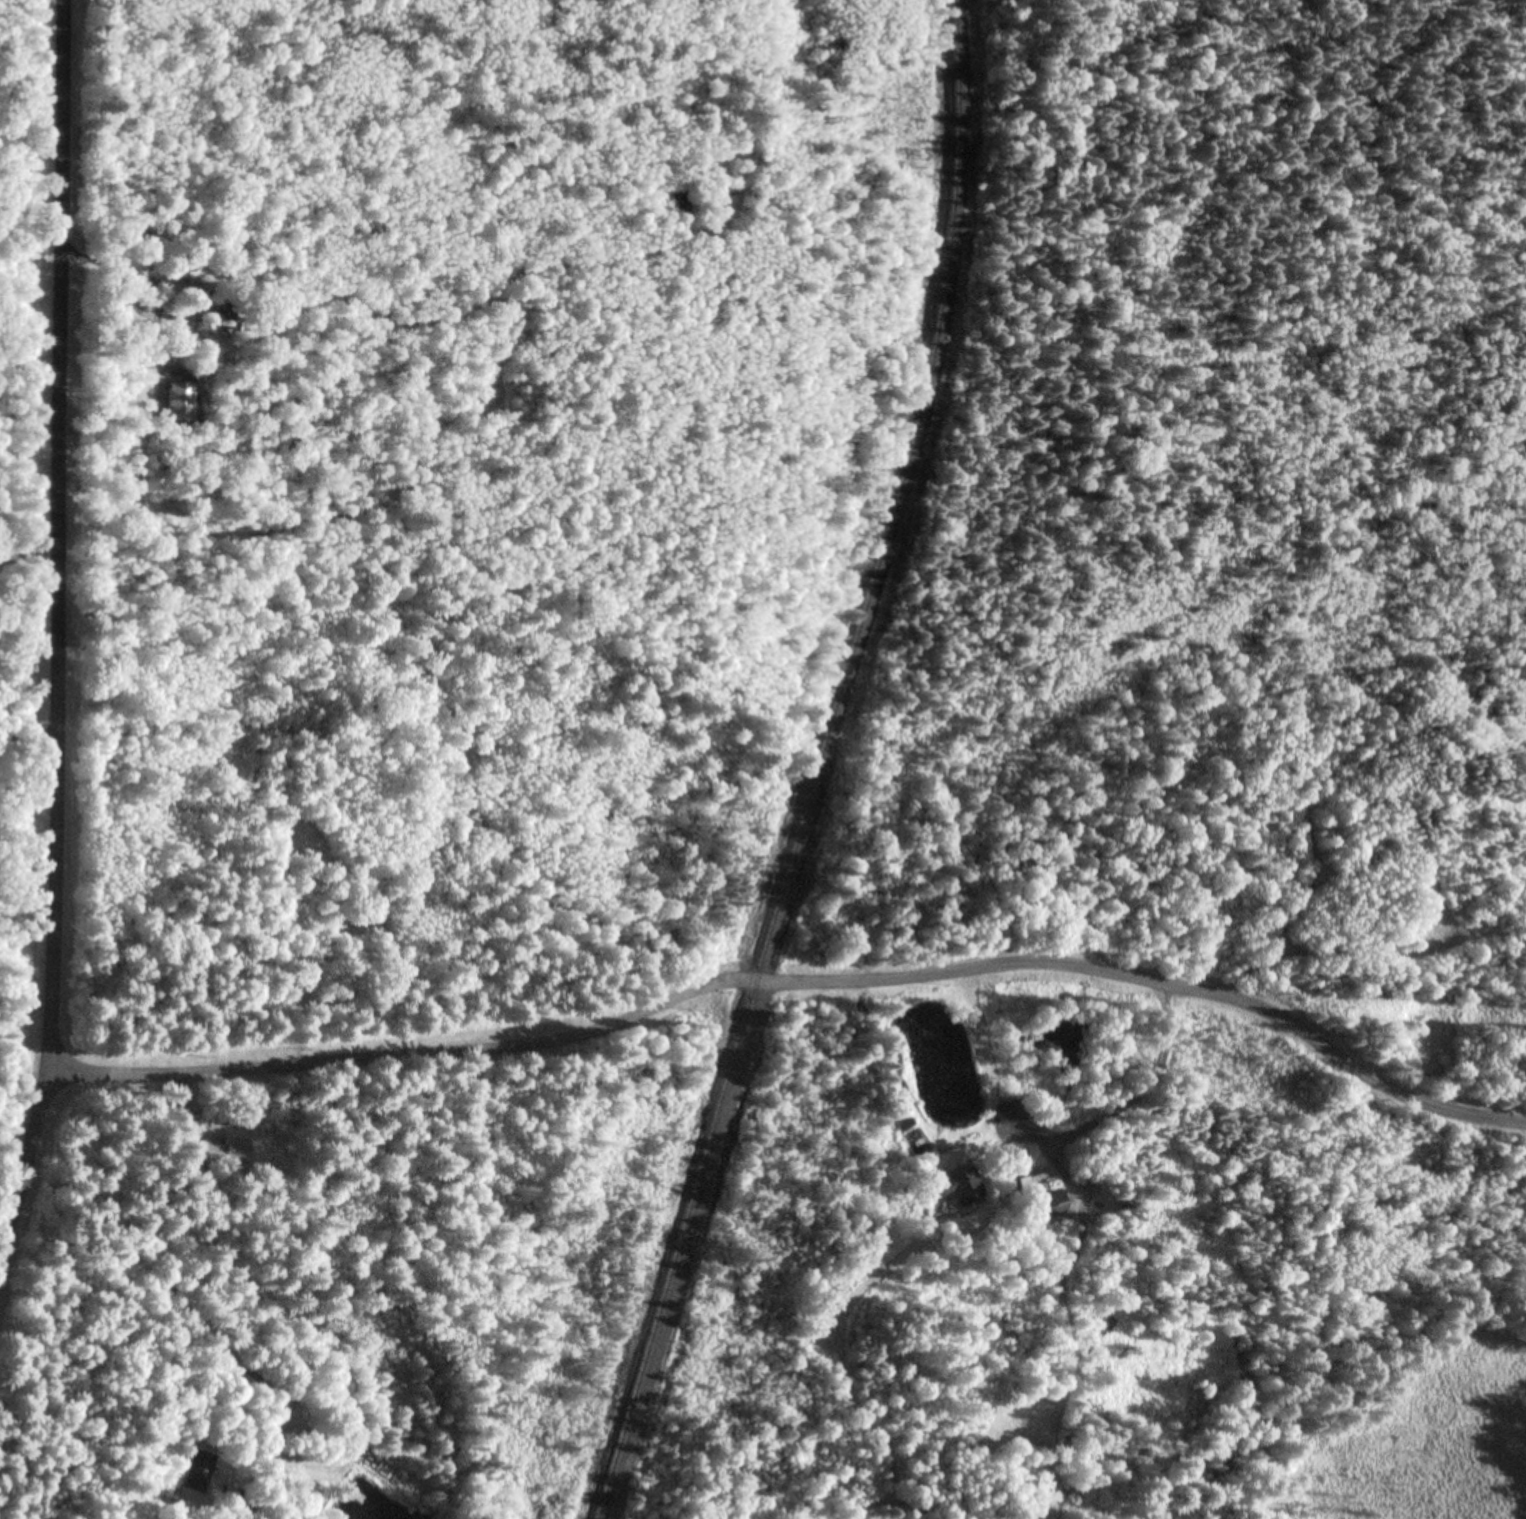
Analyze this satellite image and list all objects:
building: (188, 270)
road: (57, 634)
railway: (818, 766)
road: (799, 981)
building: (1011, 1112)
building: (227, 1151)
building: (963, 1186)
building: (1054, 1205)
building: (205, 1468)

